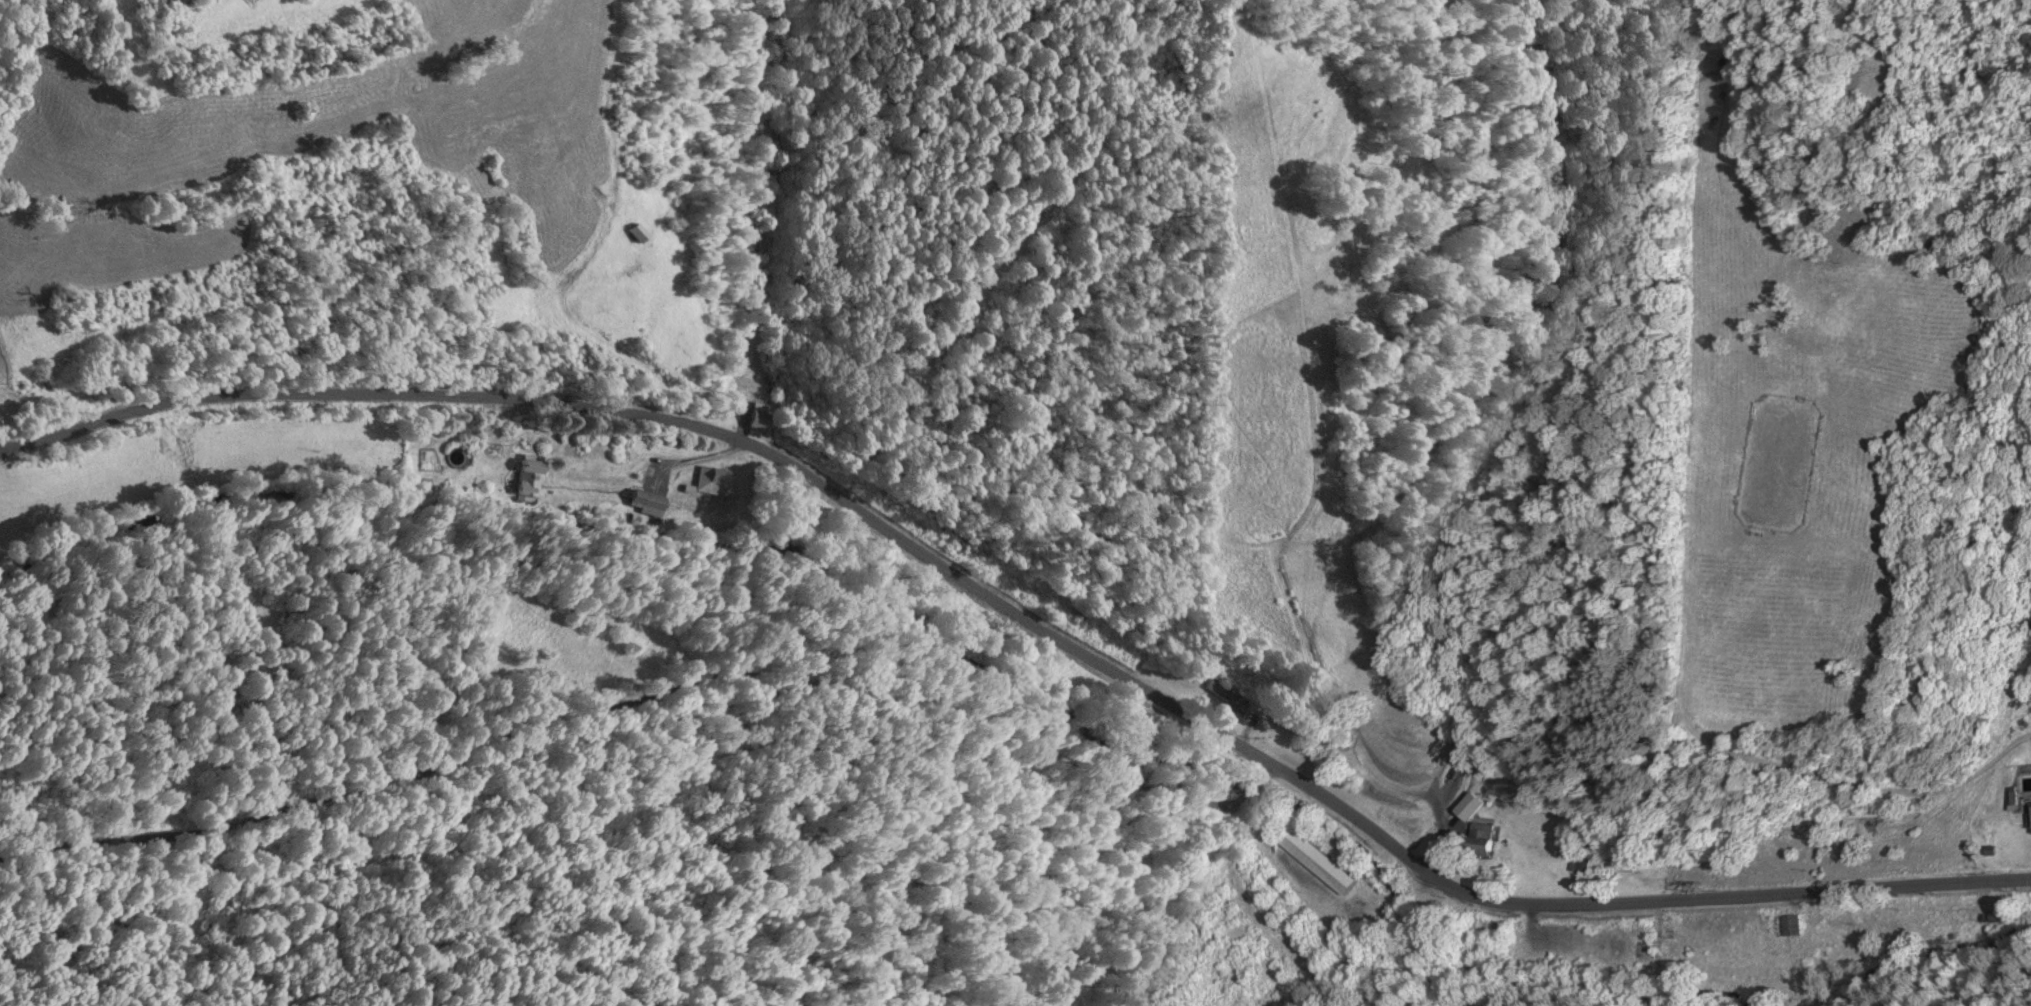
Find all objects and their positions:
building: (759, 417)
building: (532, 476)
building: (715, 482)
building: (649, 504)
road: (1027, 612)
road: (636, 694)
building: (1474, 807)
building: (2029, 820)
building: (1323, 861)
building: (1580, 865)
building: (1790, 926)
building: (1653, 927)
building: (1830, 933)

